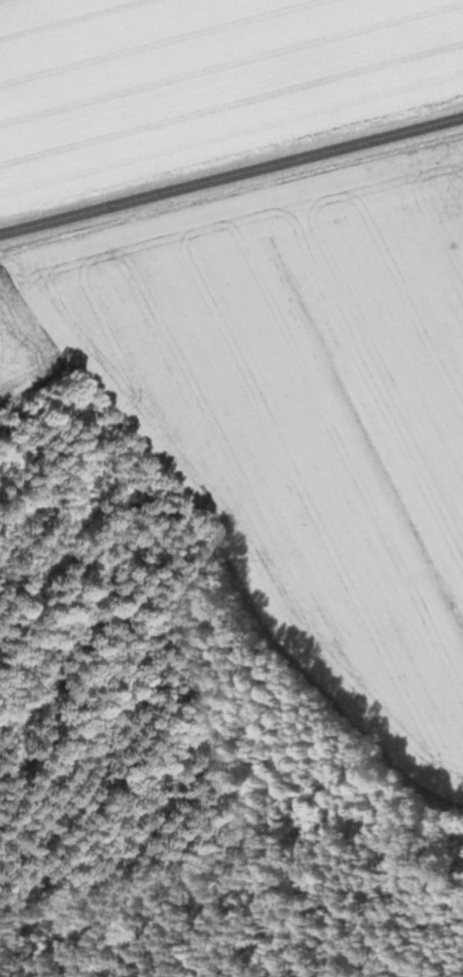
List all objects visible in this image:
road: (231, 178)

